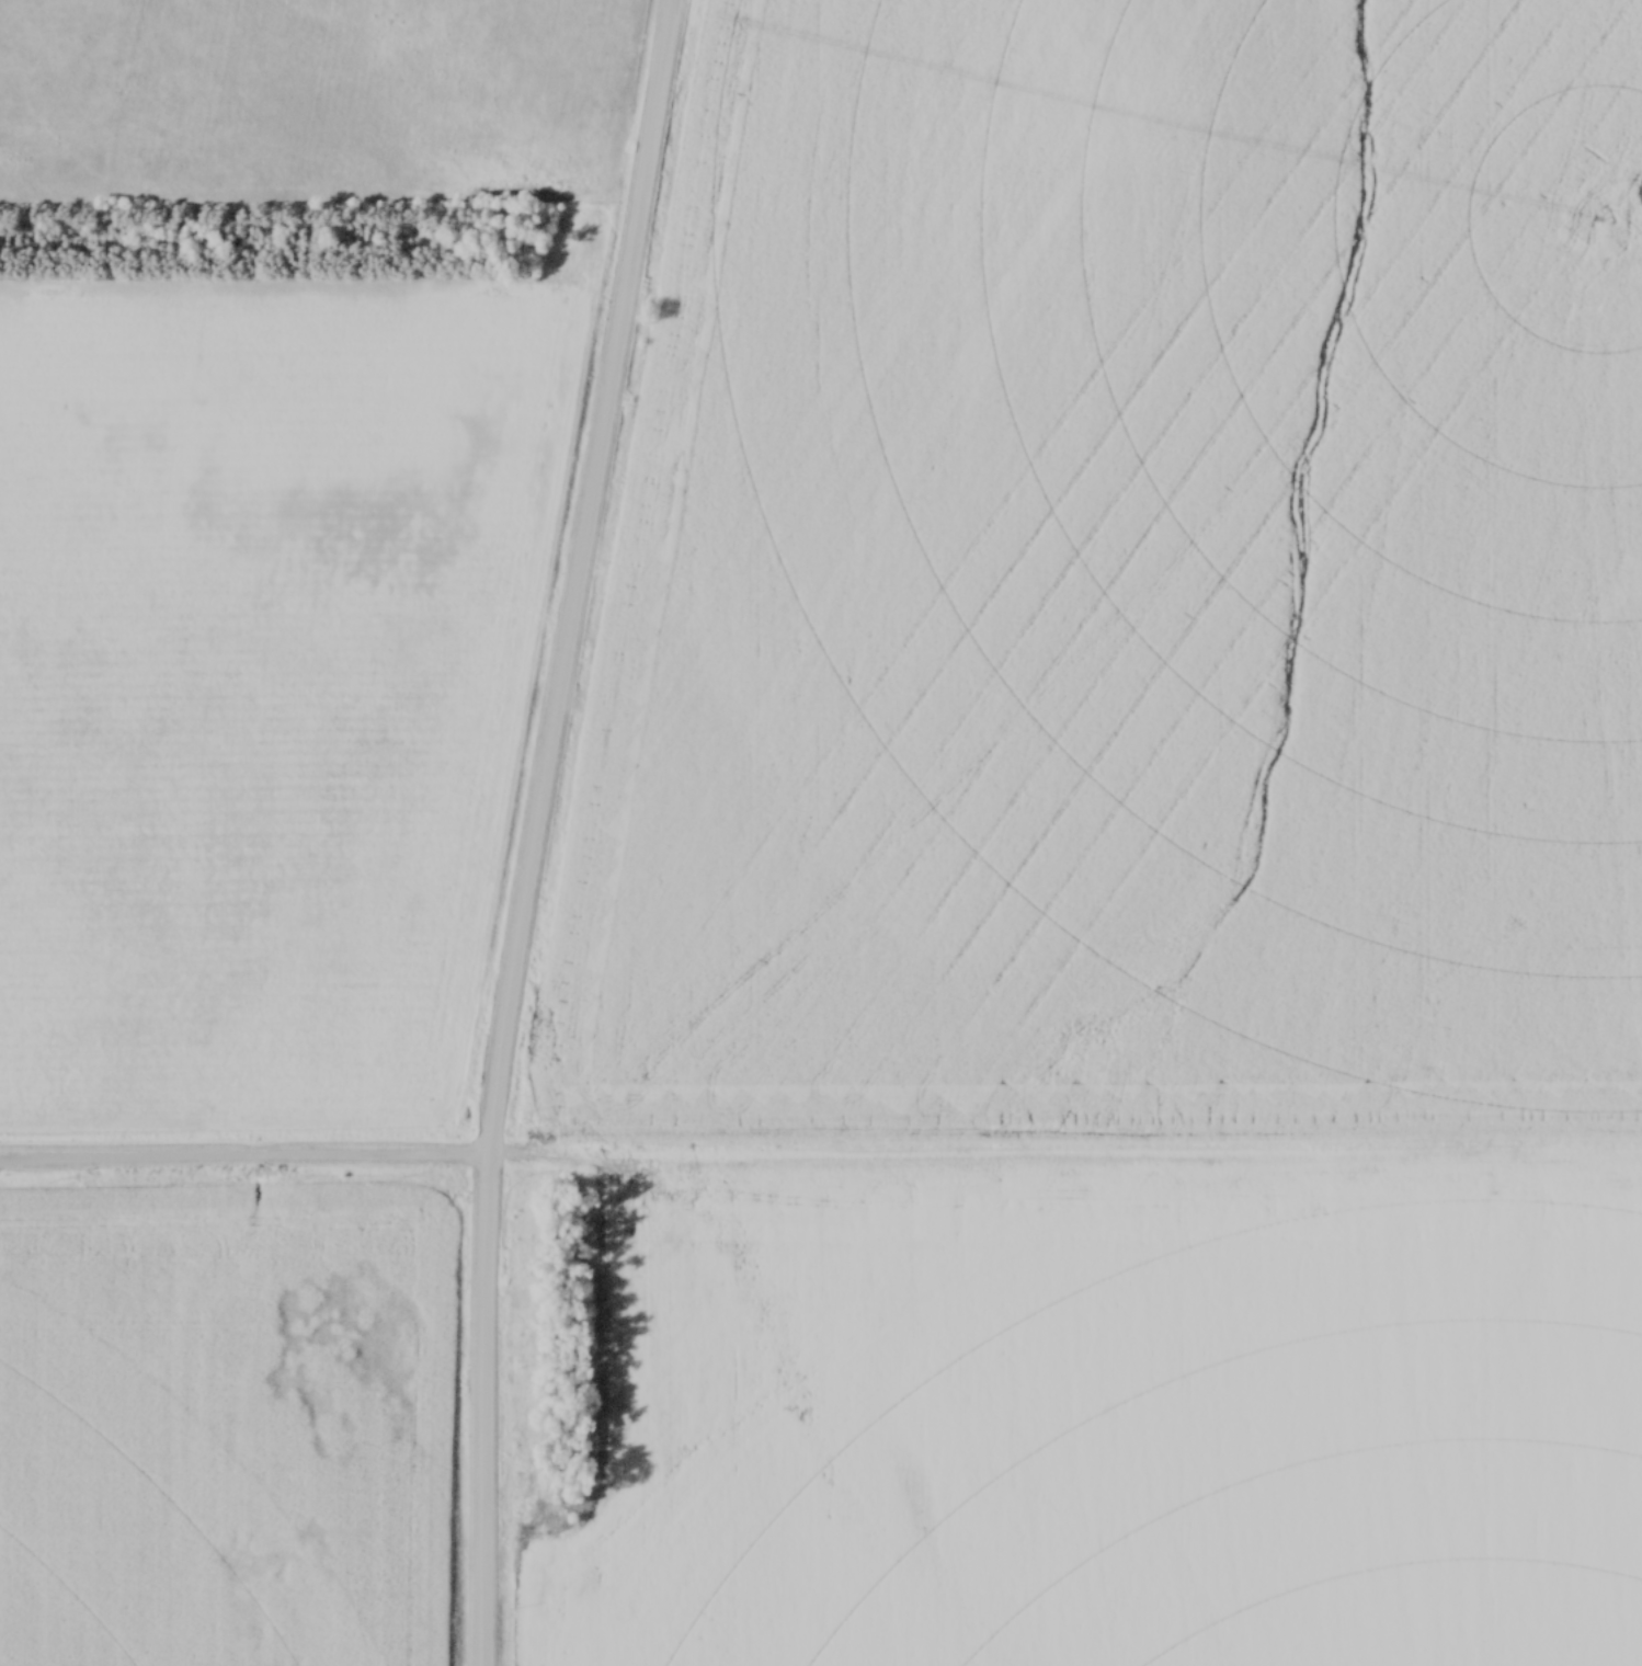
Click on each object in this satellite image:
road: (539, 829)
road: (248, 1154)

